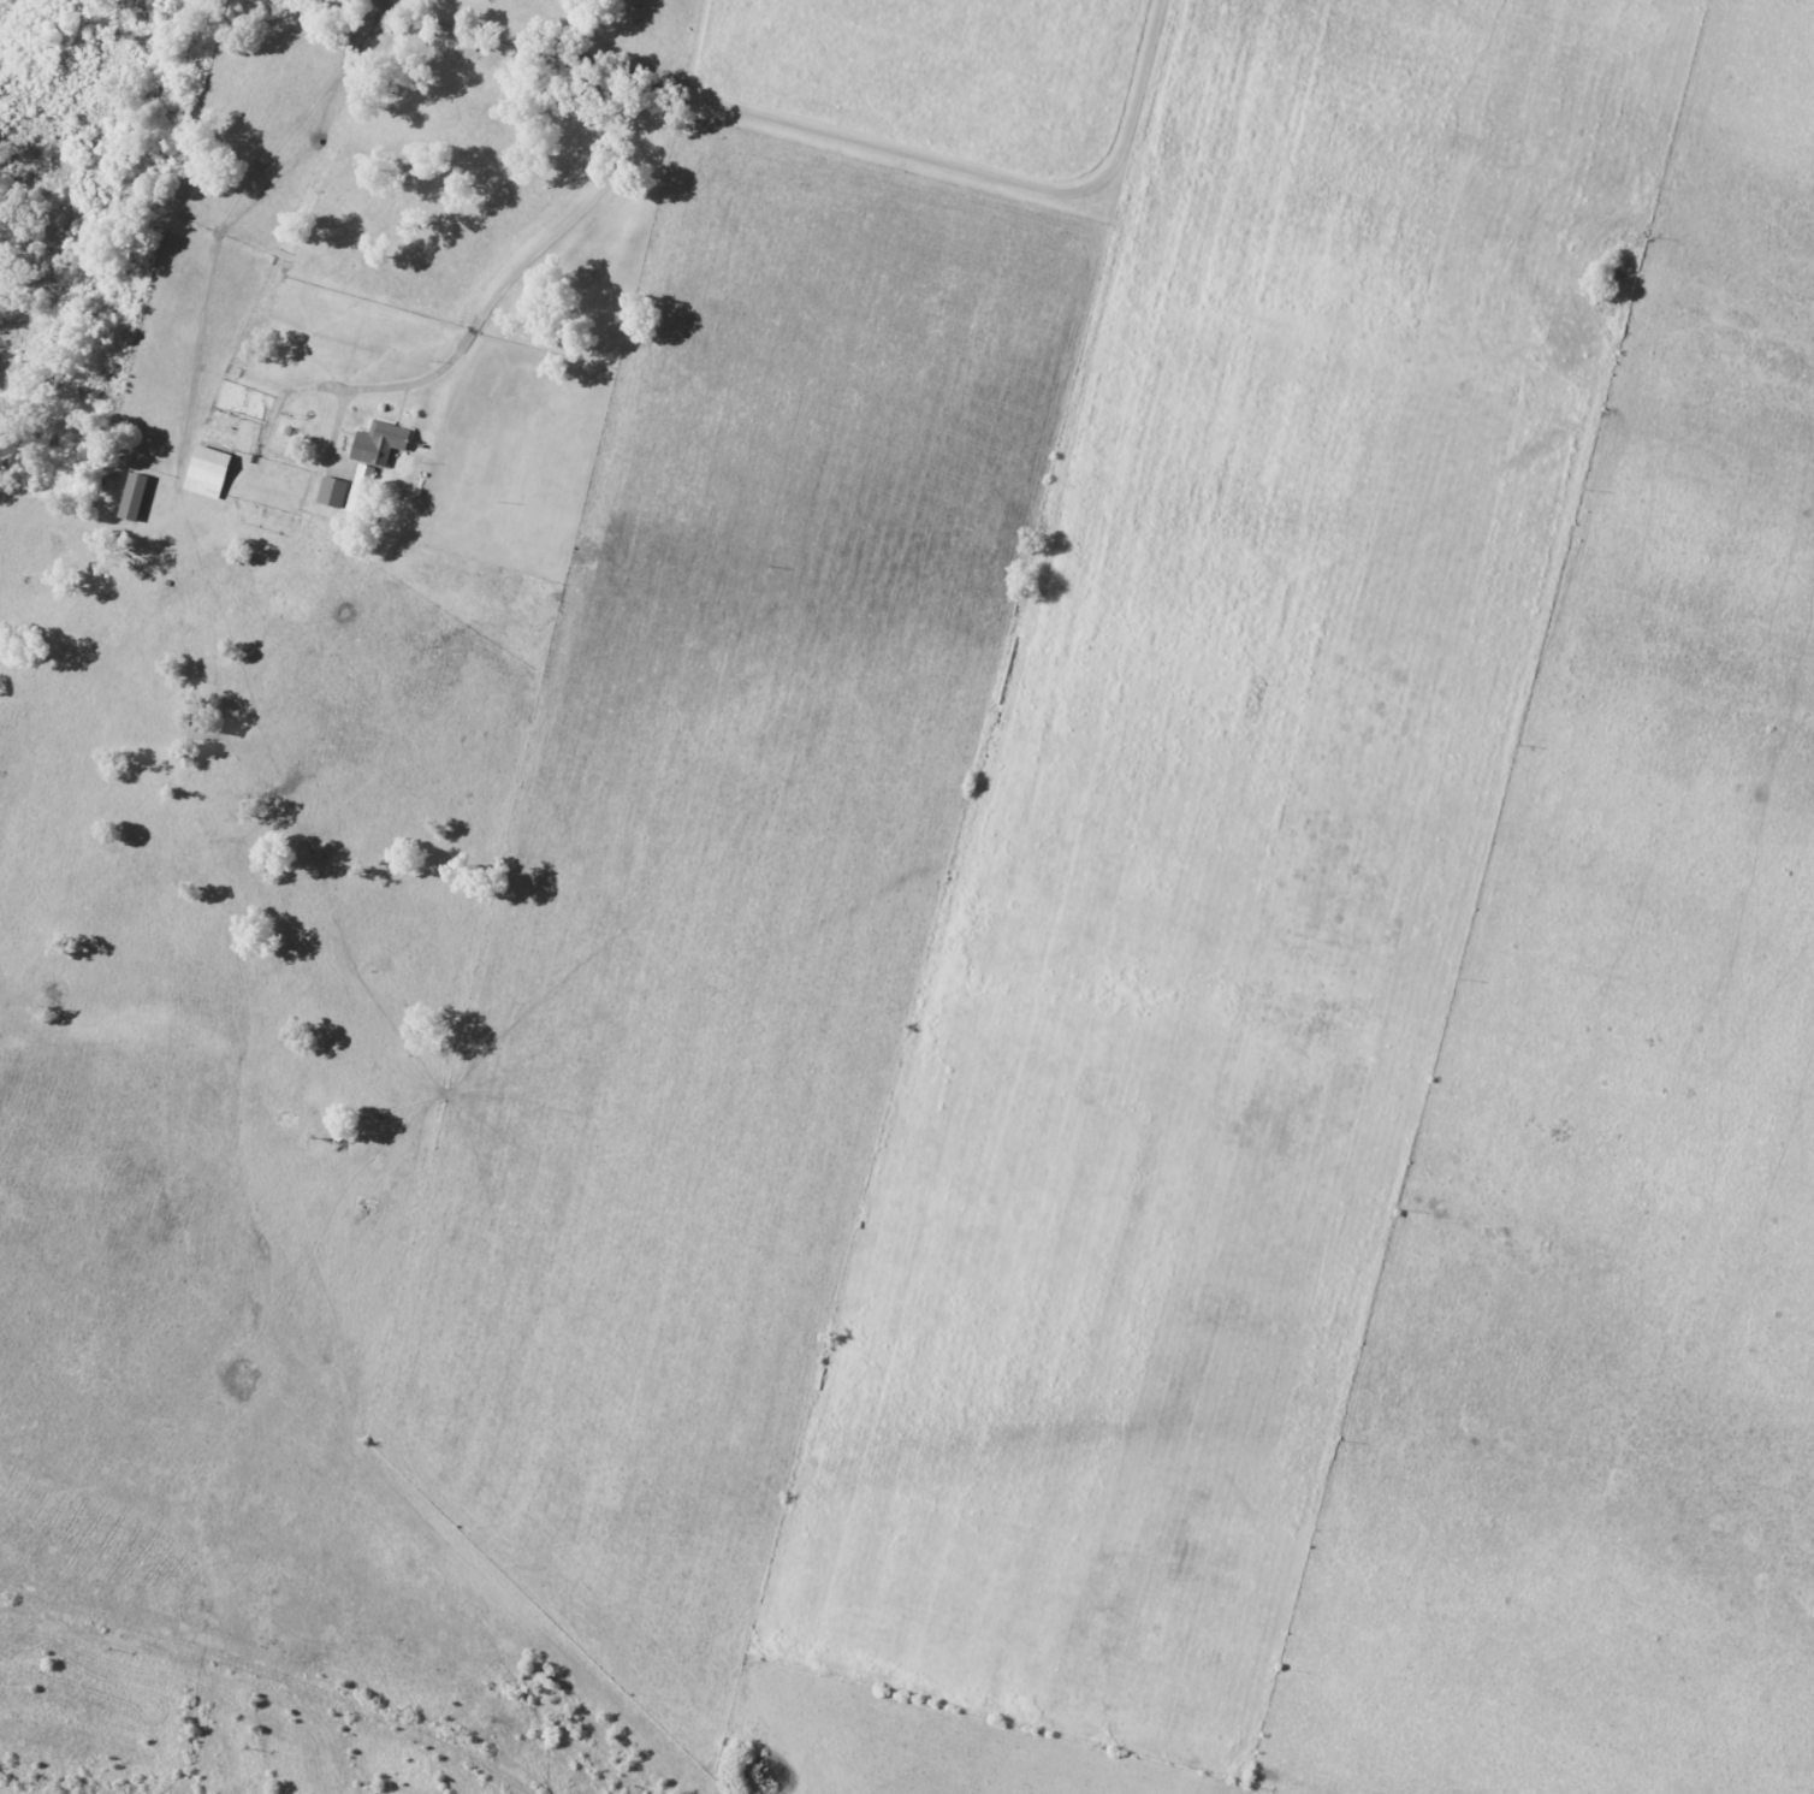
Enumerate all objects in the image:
road: (747, 129)
building: (206, 469)
building: (332, 492)
building: (131, 496)

